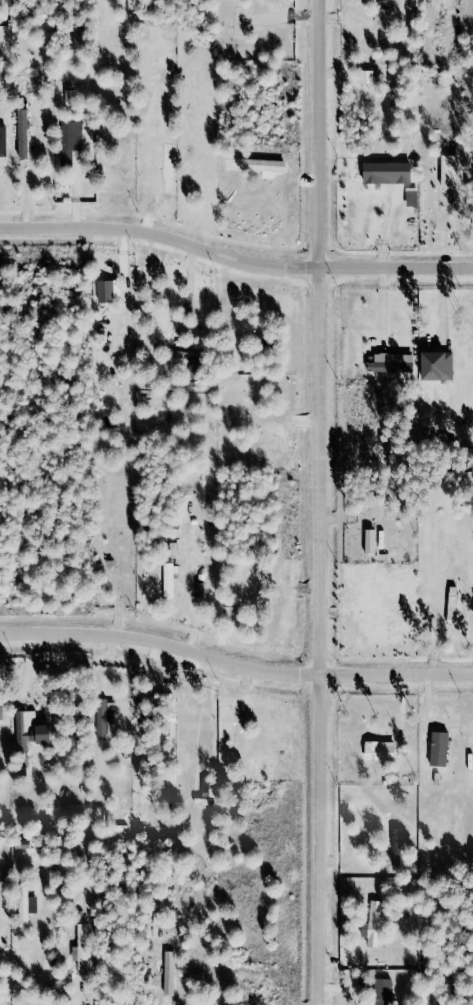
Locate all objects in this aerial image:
building: (386, 12)
building: (367, 73)
building: (25, 129)
building: (71, 135)
building: (5, 138)
building: (391, 168)
building: (413, 196)
road: (235, 258)
building: (108, 287)
building: (189, 356)
building: (393, 360)
building: (440, 360)
road: (326, 502)
building: (373, 537)
building: (169, 575)
building: (454, 602)
building: (239, 610)
road: (235, 660)
building: (2, 713)
building: (107, 717)
building: (34, 727)
building: (241, 729)
building: (440, 745)
building: (382, 747)
building: (398, 844)
building: (27, 904)
building: (375, 920)
building: (84, 944)
building: (172, 970)
building: (384, 990)
building: (427, 995)
building: (470, 999)

